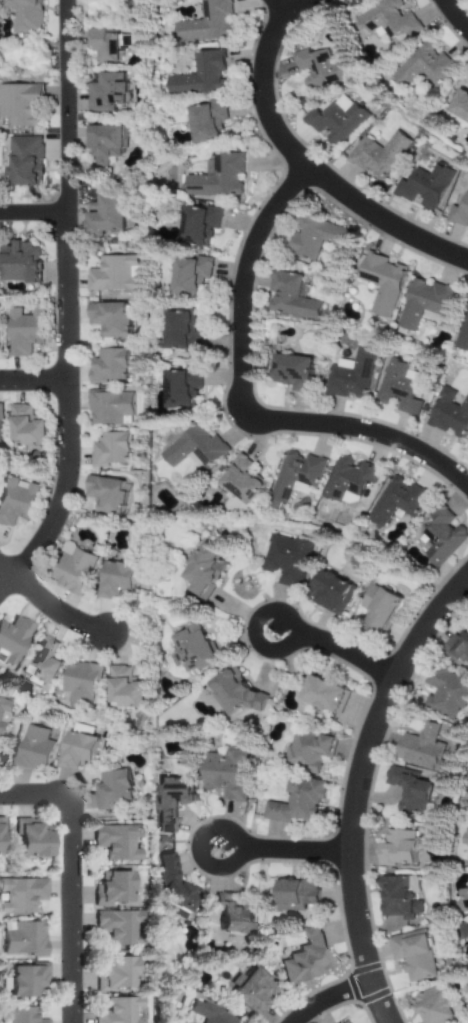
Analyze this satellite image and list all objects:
road: (278, 7)
building: (23, 15)
road: (453, 18)
building: (206, 22)
building: (385, 23)
building: (103, 45)
building: (422, 68)
building: (318, 70)
building: (199, 76)
building: (106, 93)
building: (19, 106)
building: (459, 106)
building: (204, 121)
building: (332, 123)
building: (104, 143)
building: (375, 155)
building: (23, 162)
road: (304, 165)
building: (216, 178)
building: (424, 188)
building: (459, 210)
road: (33, 213)
building: (104, 215)
building: (196, 226)
building: (314, 238)
building: (19, 263)
building: (111, 275)
building: (187, 276)
building: (380, 282)
building: (290, 299)
building: (422, 304)
road: (68, 305)
building: (108, 320)
building: (22, 331)
building: (179, 334)
building: (462, 334)
road: (291, 347)
building: (107, 366)
building: (293, 372)
building: (351, 375)
road: (35, 384)
building: (178, 386)
building: (399, 388)
road: (289, 393)
road: (244, 400)
building: (108, 409)
road: (299, 409)
building: (449, 414)
building: (23, 428)
building: (0, 429)
building: (194, 448)
building: (108, 451)
building: (294, 476)
building: (347, 479)
building: (240, 480)
building: (104, 495)
building: (14, 501)
building: (395, 502)
building: (442, 537)
building: (285, 560)
building: (72, 571)
building: (200, 572)
road: (5, 573)
building: (114, 581)
building: (327, 592)
road: (55, 609)
building: (377, 610)
building: (11, 641)
building: (460, 647)
building: (192, 648)
road: (340, 650)
building: (39, 662)
building: (80, 684)
building: (122, 690)
building: (446, 693)
building: (232, 695)
building: (322, 696)
building: (3, 715)
building: (82, 729)
building: (31, 748)
building: (419, 748)
building: (307, 750)
building: (74, 753)
building: (223, 775)
building: (111, 790)
road: (361, 790)
building: (409, 790)
building: (169, 802)
building: (295, 804)
building: (0, 838)
building: (29, 841)
building: (116, 842)
building: (465, 845)
building: (395, 849)
road: (289, 852)
road: (70, 876)
building: (171, 885)
building: (110, 889)
building: (20, 895)
building: (464, 895)
building: (295, 896)
building: (397, 898)
building: (234, 913)
building: (115, 927)
building: (467, 931)
building: (22, 938)
building: (411, 956)
building: (303, 958)
building: (113, 976)
building: (24, 981)
building: (249, 993)
road: (329, 997)
building: (431, 1006)
building: (118, 1011)
building: (208, 1014)
building: (17, 1016)
building: (346, 1021)

